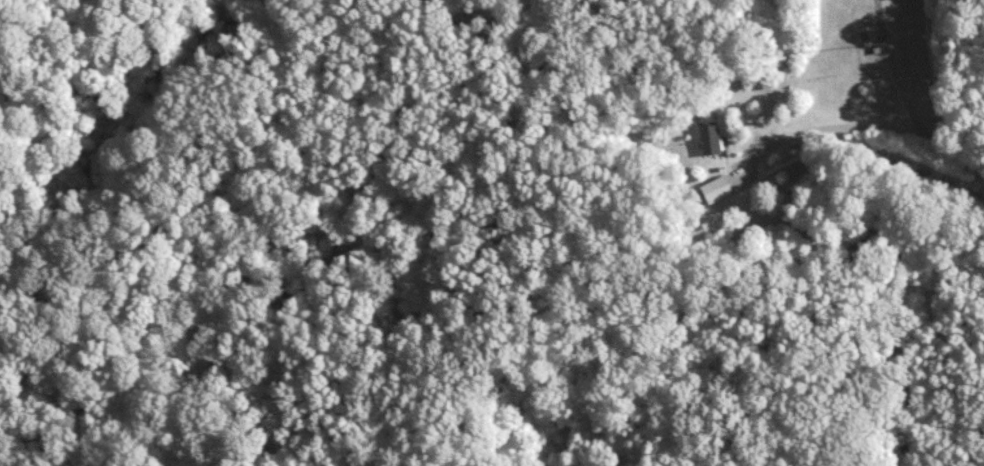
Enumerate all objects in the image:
road: (901, 83)
road: (882, 127)
building: (710, 137)
building: (723, 183)

